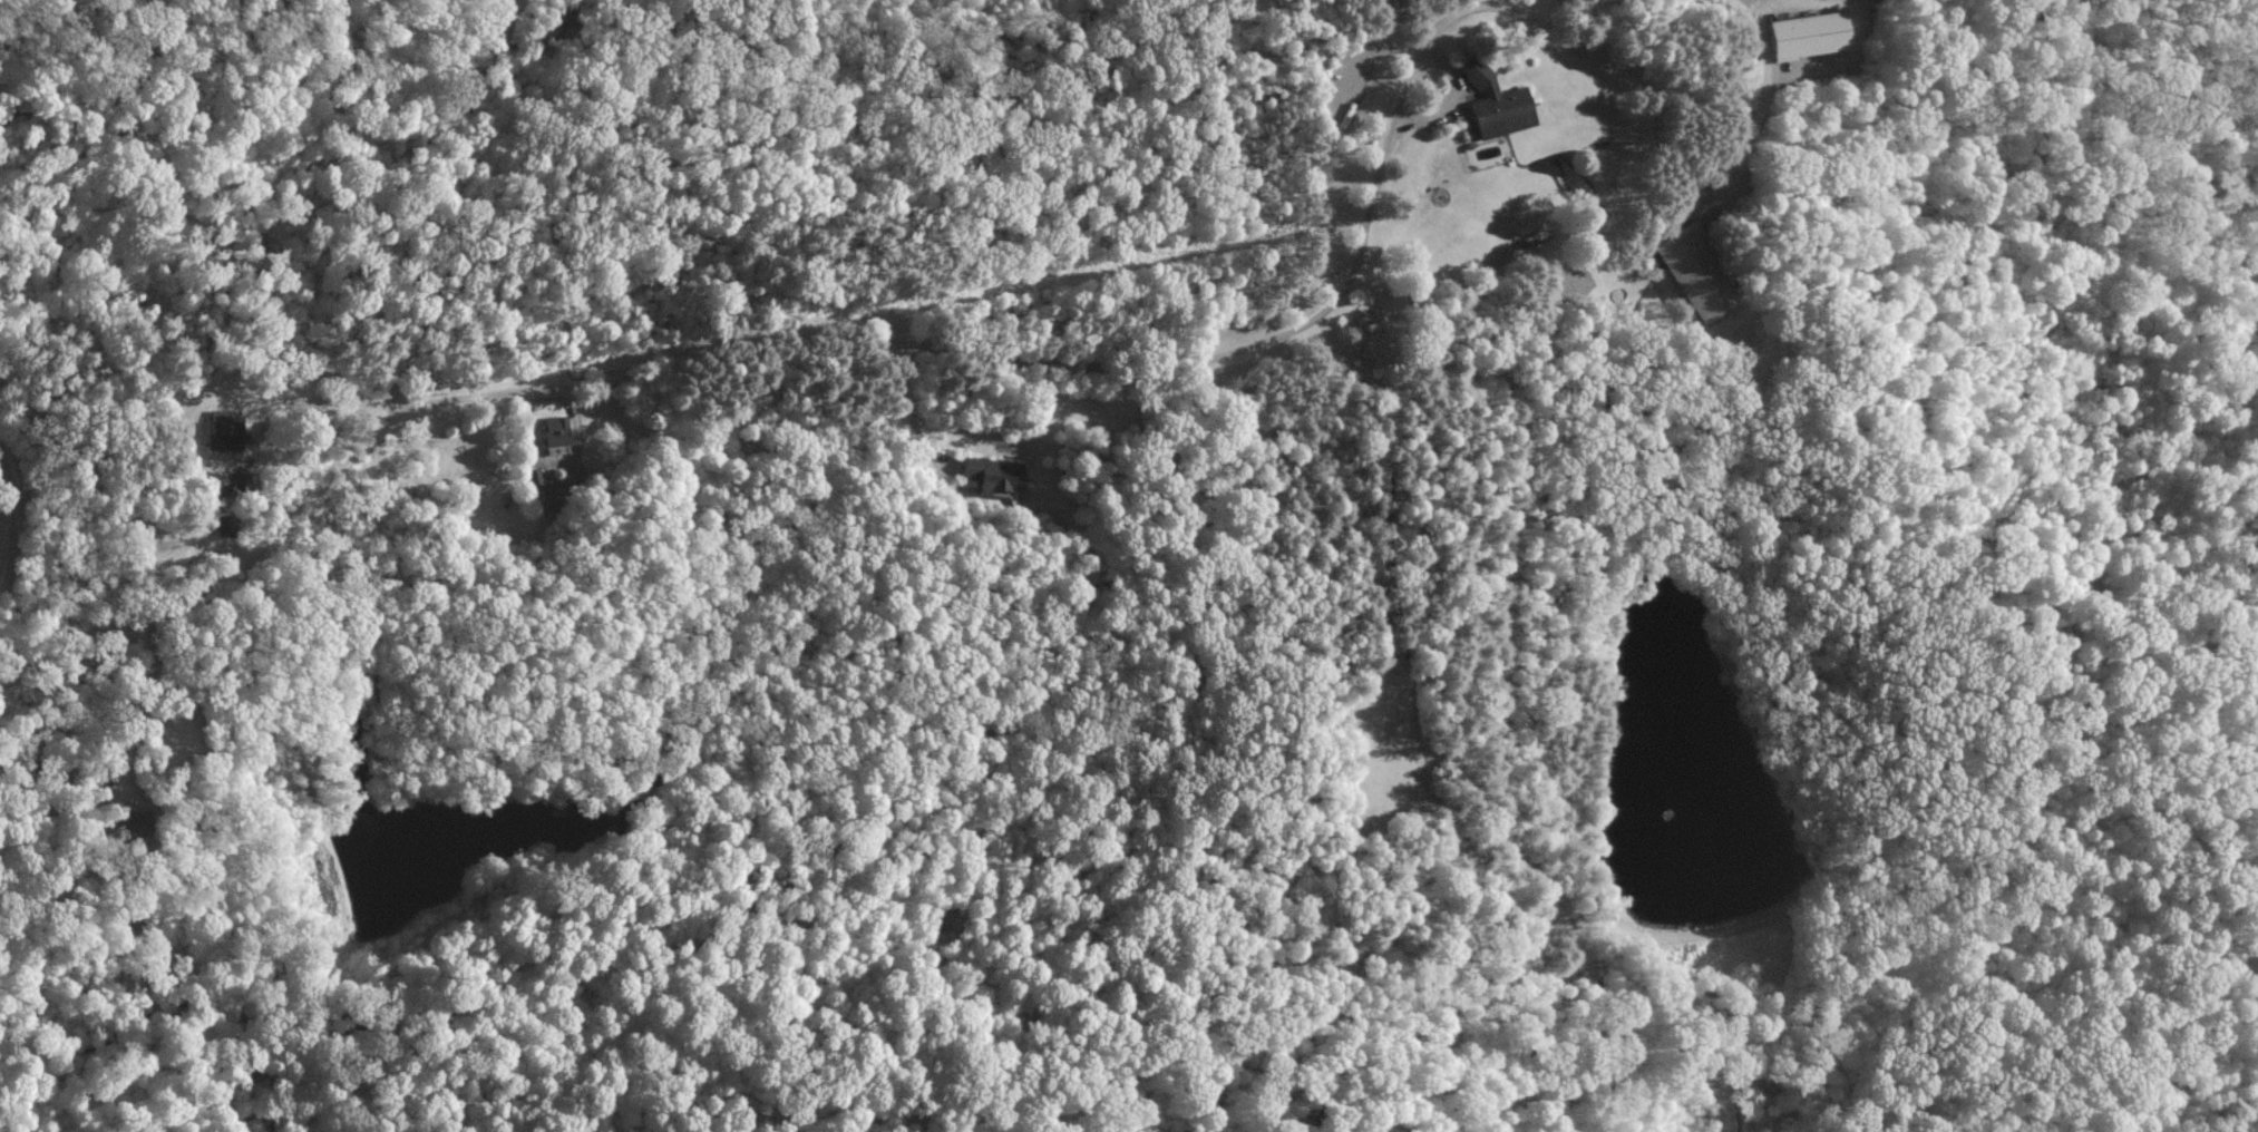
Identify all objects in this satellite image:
road: (1761, 12)
building: (1801, 33)
road: (1847, 61)
road: (1647, 85)
building: (1488, 101)
building: (1691, 274)
road: (760, 342)
road: (341, 399)
building: (226, 429)
building: (558, 429)
building: (995, 472)
road: (7, 515)
building: (228, 525)

